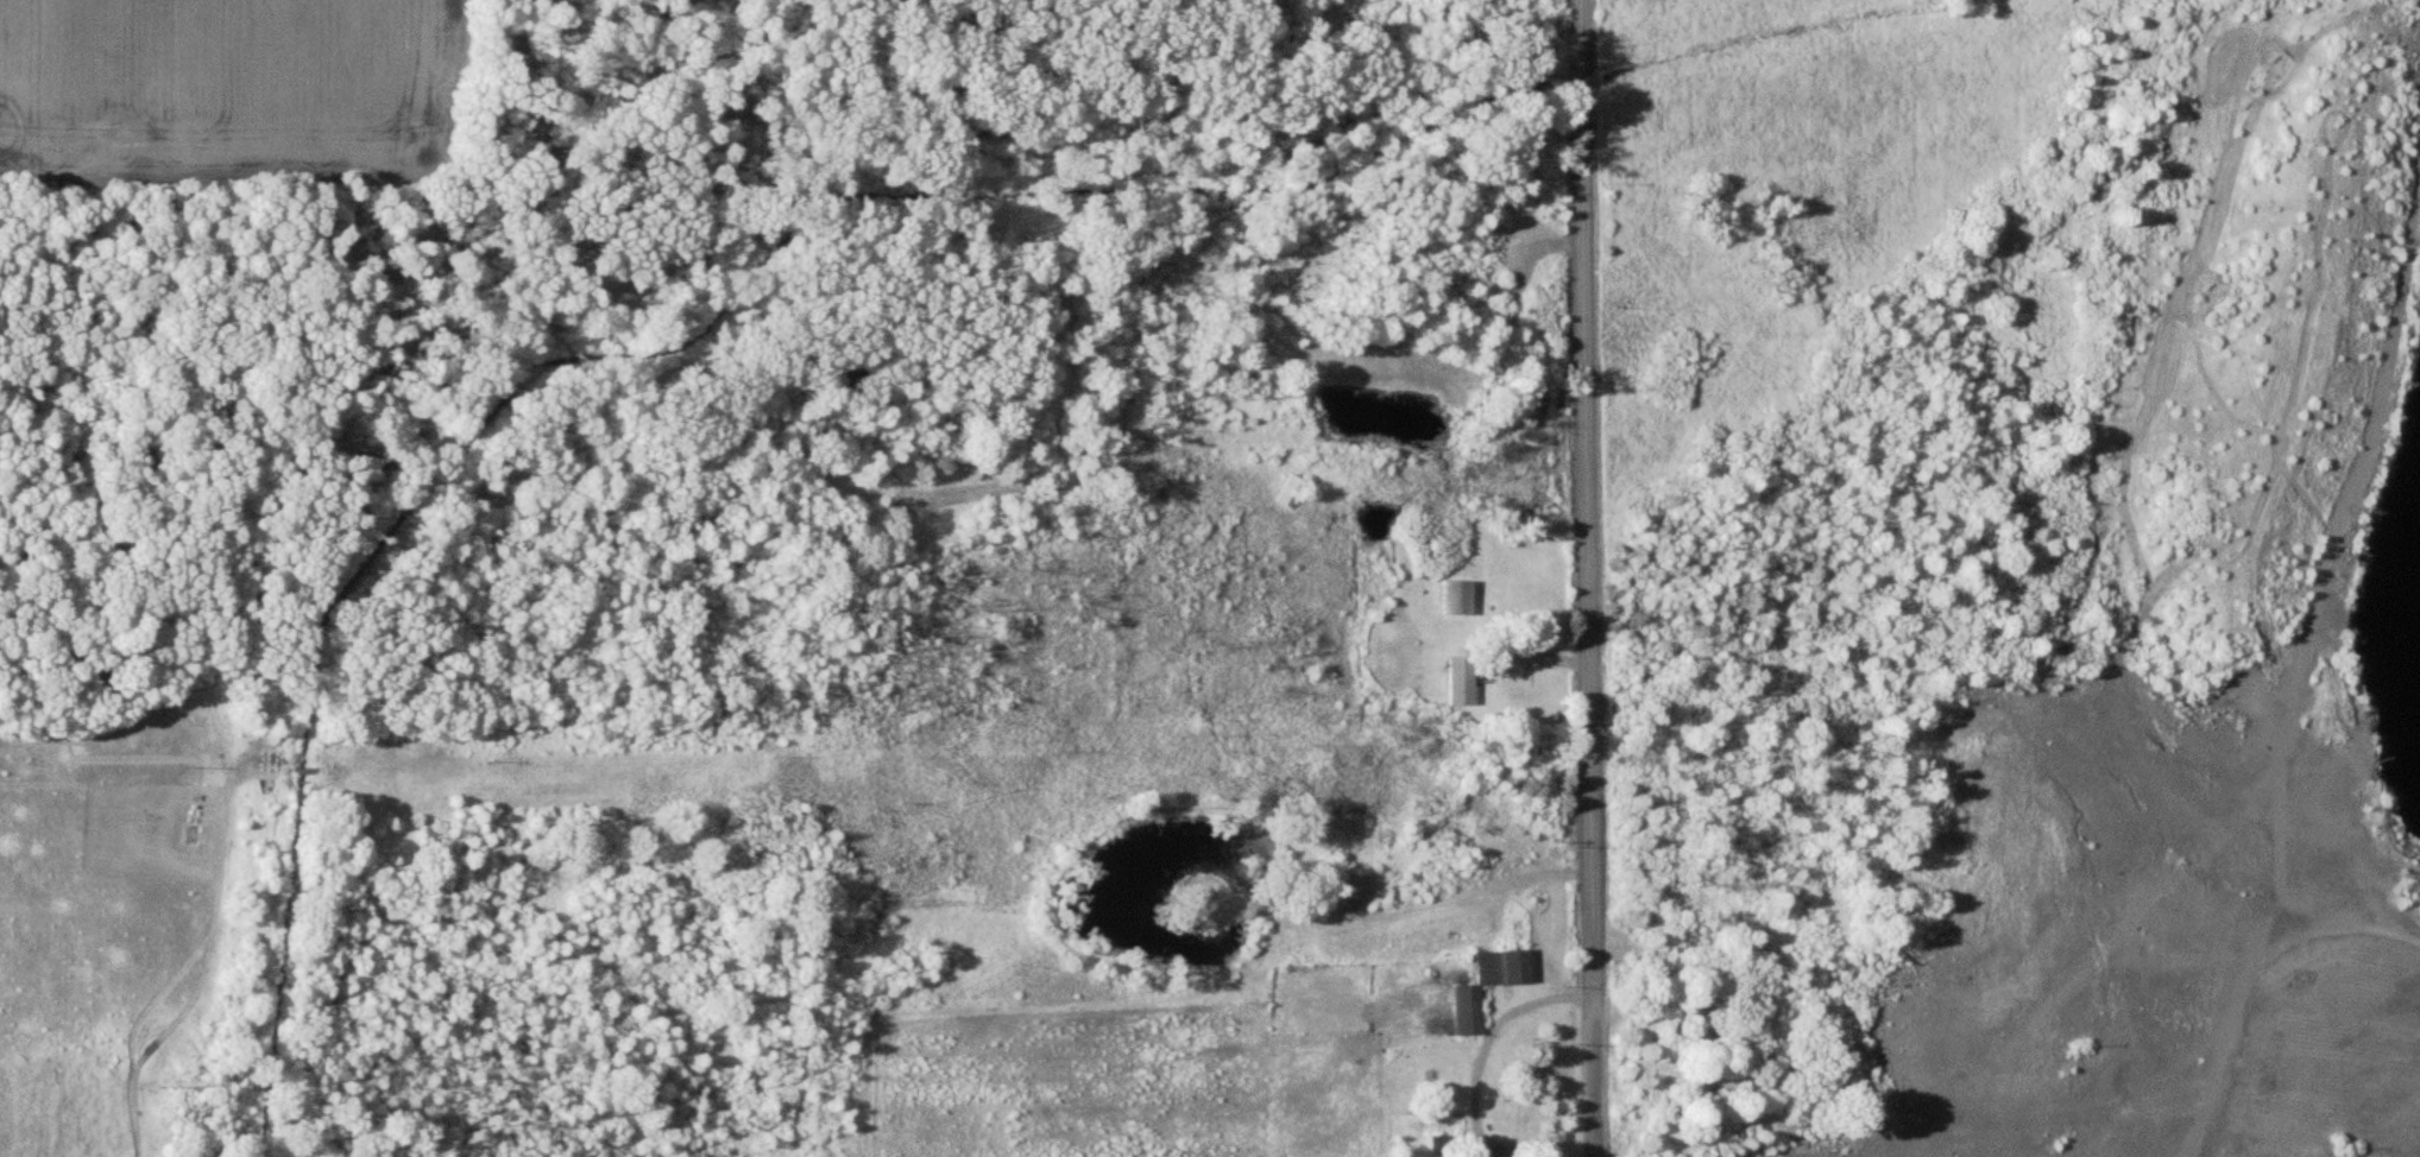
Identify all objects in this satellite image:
building: (1290, 491)
road: (1582, 578)
building: (1456, 596)
building: (1460, 681)
building: (1467, 1010)
road: (1474, 1052)

